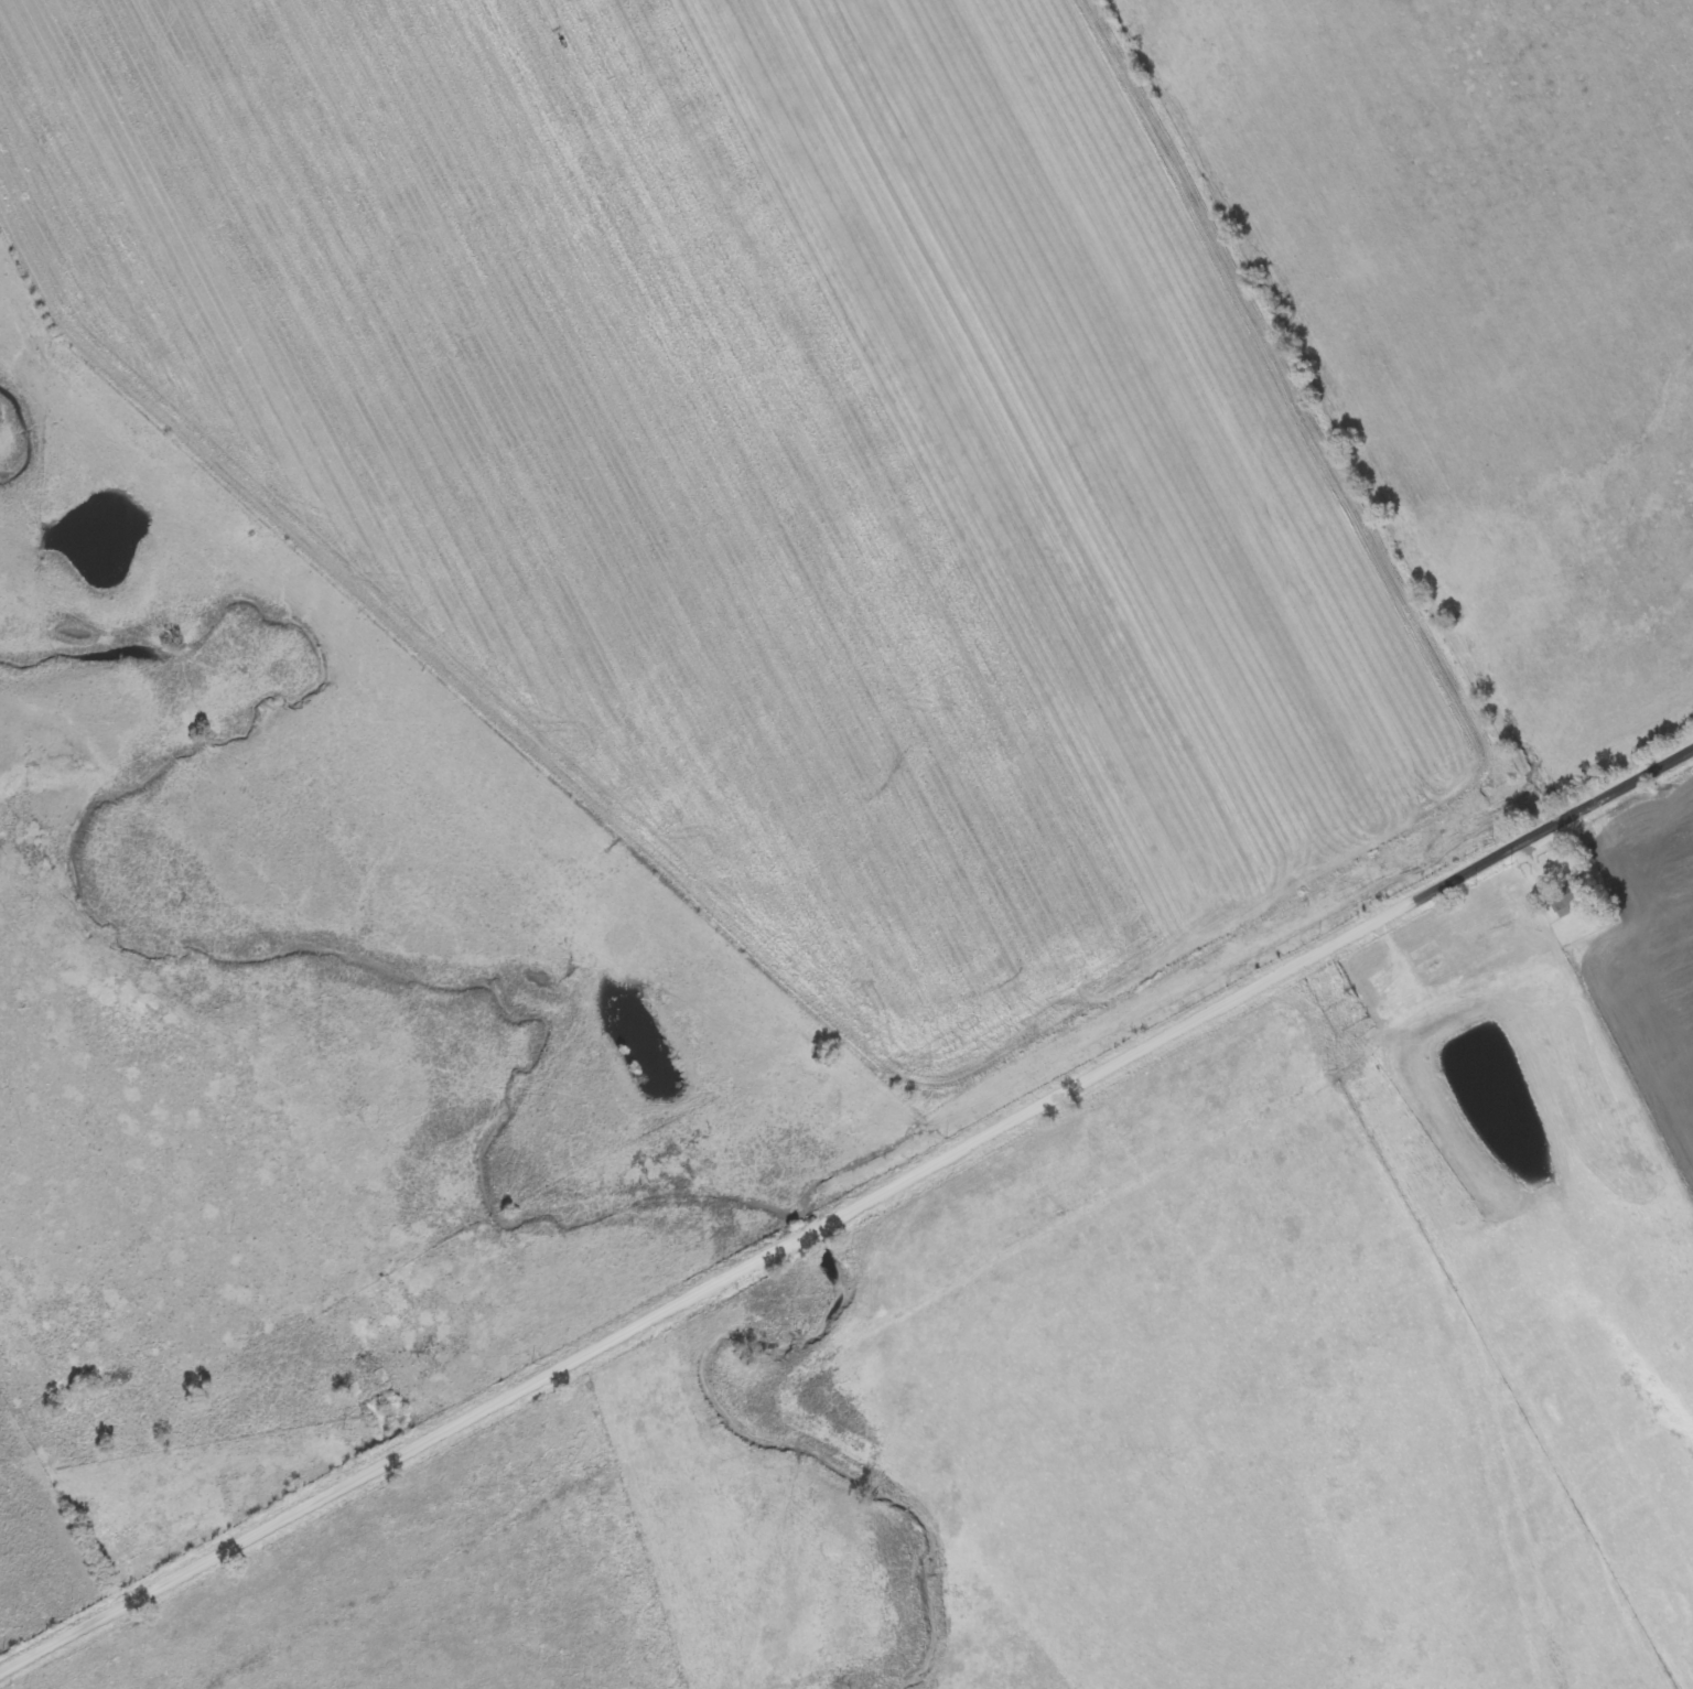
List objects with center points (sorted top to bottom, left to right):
building: (1571, 897)
road: (846, 1217)

